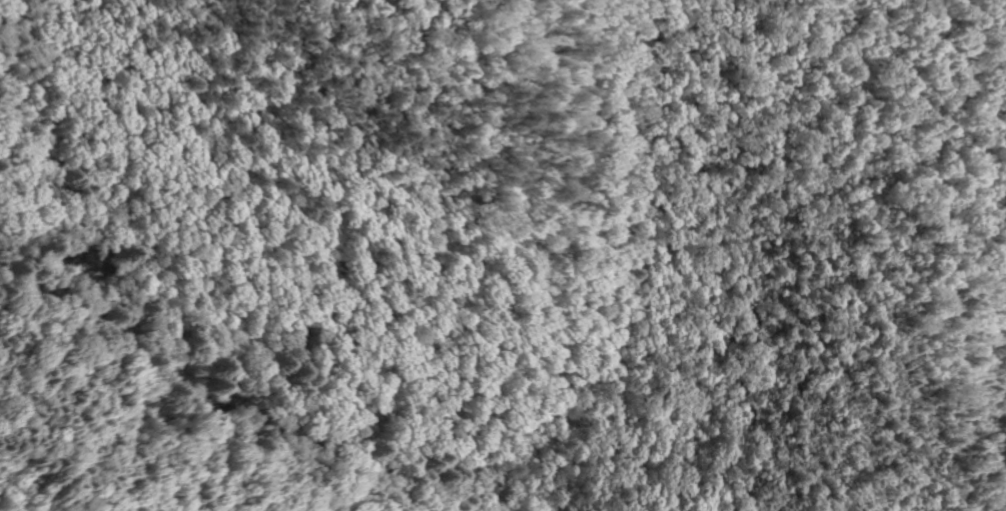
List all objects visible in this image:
road: (869, 31)

